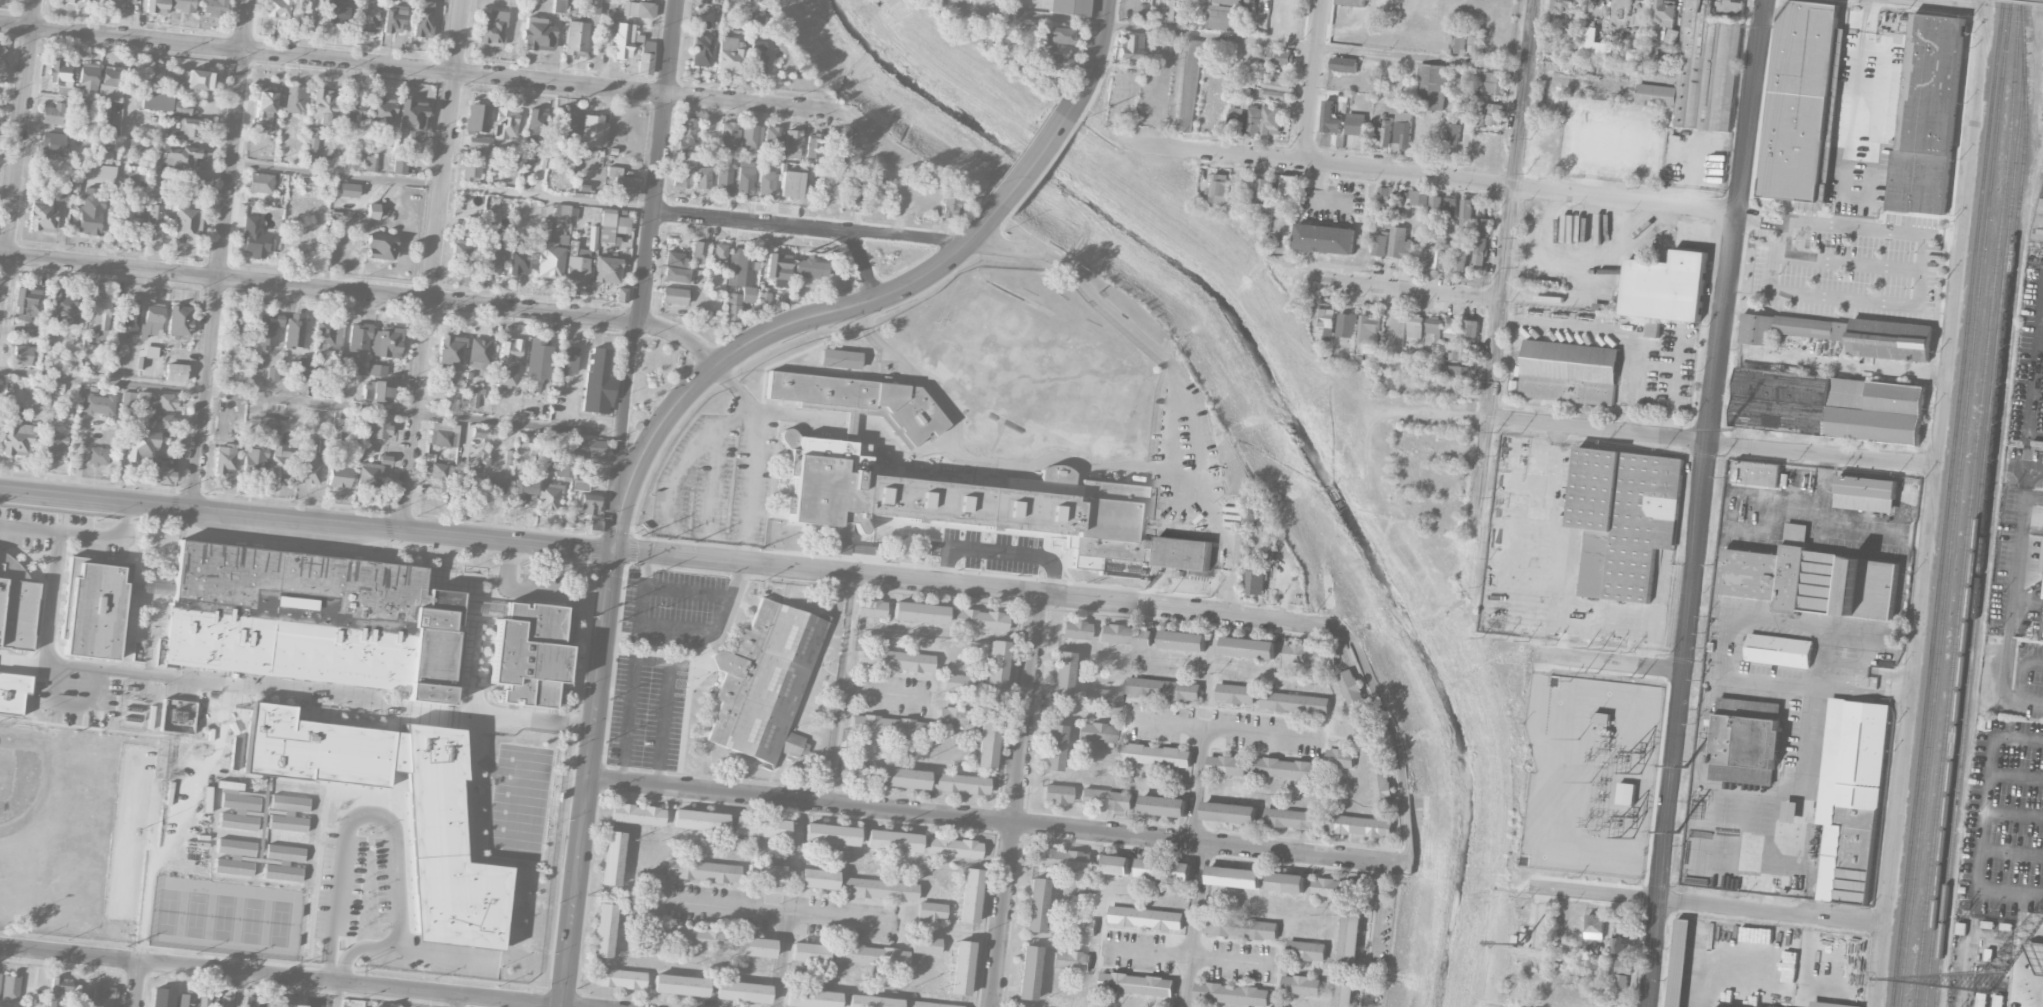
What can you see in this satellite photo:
building: (70, 1)
building: (957, 1)
building: (93, 2)
building: (1352, 2)
building: (119, 3)
road: (1943, 4)
building: (183, 5)
building: (214, 5)
building: (559, 5)
building: (1250, 5)
building: (156, 6)
building: (590, 6)
building: (1069, 7)
building: (277, 9)
building: (638, 9)
building: (306, 10)
building: (335, 10)
building: (1170, 10)
building: (1664, 14)
building: (367, 17)
building: (422, 18)
building: (1221, 18)
building: (393, 19)
road: (1866, 21)
power tower: (1773, 22)
building: (491, 25)
building: (538, 34)
building: (1055, 35)
road: (1219, 37)
building: (575, 38)
building: (622, 40)
building: (1460, 41)
building: (1475, 43)
building: (1593, 43)
building: (1129, 46)
building: (756, 47)
building: (700, 50)
building: (644, 55)
building: (729, 55)
building: (1284, 57)
road: (1092, 60)
building: (1055, 61)
building: (1344, 64)
building: (757, 65)
building: (1662, 66)
building: (1703, 66)
road: (421, 68)
building: (60, 72)
building: (198, 80)
building: (87, 81)
road: (1311, 81)
building: (110, 83)
building: (1493, 83)
building: (1188, 85)
building: (1277, 85)
building: (1431, 86)
building: (1275, 94)
building: (292, 99)
building: (1799, 99)
building: (264, 105)
building: (323, 105)
building: (183, 106)
building: (351, 111)
building: (381, 112)
building: (1488, 112)
building: (53, 114)
building: (1927, 114)
building: (477, 117)
building: (1236, 118)
building: (1330, 118)
building: (412, 119)
building: (1272, 119)
building: (1255, 120)
building: (535, 122)
building: (505, 123)
building: (1356, 123)
building: (564, 125)
building: (187, 128)
building: (592, 131)
building: (1402, 131)
building: (686, 133)
building: (1386, 133)
building: (1452, 133)
building: (728, 135)
building: (772, 136)
building: (749, 138)
building: (311, 139)
building: (479, 142)
building: (792, 143)
building: (55, 144)
building: (135, 144)
building: (812, 145)
road: (1874, 147)
road: (17, 149)
building: (834, 149)
road: (122, 152)
building: (513, 154)
building: (179, 156)
road: (1032, 160)
road: (657, 161)
building: (399, 162)
building: (369, 163)
road: (884, 167)
building: (100, 168)
building: (471, 169)
road: (1859, 172)
building: (690, 173)
building: (724, 174)
building: (744, 177)
road: (1430, 177)
building: (135, 180)
building: (196, 180)
building: (765, 181)
building: (260, 182)
building: (623, 183)
building: (790, 184)
road: (441, 185)
building: (1263, 185)
building: (1286, 185)
building: (1219, 188)
building: (349, 190)
building: (1388, 192)
building: (61, 193)
building: (850, 195)
building: (1416, 197)
building: (1450, 205)
building: (1433, 206)
building: (949, 207)
building: (371, 211)
building: (1468, 212)
building: (562, 213)
building: (42, 217)
building: (154, 218)
road: (746, 220)
building: (131, 225)
road: (1849, 225)
building: (188, 226)
building: (612, 227)
road: (902, 236)
building: (254, 238)
building: (1325, 238)
building: (1481, 240)
building: (1381, 243)
building: (1400, 243)
building: (1452, 243)
building: (381, 247)
road: (219, 252)
building: (462, 252)
building: (698, 252)
building: (719, 253)
road: (1507, 255)
building: (492, 256)
building: (1436, 258)
building: (675, 259)
building: (1460, 260)
building: (550, 261)
road: (863, 261)
building: (519, 263)
road: (433, 264)
building: (576, 265)
building: (778, 266)
building: (810, 268)
building: (607, 269)
building: (742, 271)
building: (676, 274)
building: (1666, 286)
road: (318, 289)
road: (1409, 292)
building: (620, 294)
building: (675, 296)
road: (1836, 298)
building: (26, 304)
building: (62, 308)
building: (732, 311)
building: (99, 313)
building: (129, 316)
building: (1325, 319)
building: (151, 320)
building: (179, 320)
building: (1347, 324)
building: (1415, 325)
building: (239, 326)
building: (1434, 326)
building: (1461, 327)
building: (1370, 328)
building: (1653, 328)
building: (1789, 328)
building: (268, 330)
building: (294, 331)
road: (1133, 331)
building: (328, 334)
road: (764, 334)
building: (359, 336)
road: (680, 337)
building: (1890, 339)
building: (386, 342)
building: (234, 350)
building: (450, 350)
building: (1459, 352)
building: (21, 354)
building: (840, 358)
building: (147, 360)
building: (567, 360)
building: (537, 361)
building: (508, 362)
building: (346, 364)
building: (95, 365)
building: (302, 366)
park: (1031, 368)
building: (377, 370)
building: (1455, 370)
building: (175, 372)
building: (1569, 372)
building: (272, 373)
building: (598, 382)
building: (377, 391)
building: (474, 396)
building: (128, 399)
building: (156, 400)
road: (310, 400)
building: (98, 404)
building: (1828, 404)
building: (64, 413)
building: (160, 420)
building: (265, 422)
road: (622, 423)
power tower: (1727, 427)
building: (377, 428)
building: (336, 430)
building: (479, 432)
building: (443, 434)
road: (1228, 438)
building: (17, 440)
road: (1713, 440)
building: (141, 445)
building: (55, 446)
building: (323, 446)
building: (589, 447)
building: (357, 448)
building: (97, 456)
building: (224, 457)
building: (254, 459)
building: (279, 462)
building: (825, 467)
building: (309, 469)
building: (562, 469)
building: (338, 471)
building: (436, 471)
building: (1755, 472)
building: (162, 475)
building: (369, 476)
building: (467, 484)
building: (496, 484)
building: (579, 485)
building: (1866, 492)
building: (523, 493)
building: (549, 496)
road: (1703, 503)
road: (1932, 503)
railway: (1947, 503)
railway: (1954, 503)
railway: (1968, 503)
railway: (1987, 503)
building: (589, 504)
road: (306, 517)
building: (1624, 518)
road: (1841, 527)
railway: (1975, 532)
road: (79, 534)
road: (721, 534)
road: (741, 549)
traffic signals: (614, 550)
building: (1183, 552)
building: (1254, 559)
building: (2042, 566)
building: (0, 567)
building: (1812, 579)
building: (1256, 582)
building: (149, 586)
road: (976, 587)
road: (54, 597)
road: (2013, 597)
railway: (1672, 604)
building: (95, 606)
building: (481, 607)
building: (871, 608)
building: (919, 612)
building: (17, 613)
building: (313, 618)
building: (980, 619)
road: (677, 627)
building: (1075, 629)
building: (2042, 632)
building: (1125, 635)
building: (1183, 640)
building: (1249, 647)
building: (1779, 650)
building: (527, 654)
building: (1310, 654)
parking lot: (661, 658)
building: (896, 660)
road: (652, 661)
road: (1594, 661)
road: (1544, 664)
building: (995, 667)
building: (1061, 674)
road: (2024, 674)
road: (1849, 678)
building: (764, 680)
building: (957, 683)
building: (1164, 688)
road: (843, 690)
building: (12, 692)
road: (297, 692)
building: (1236, 693)
road: (884, 694)
building: (1102, 698)
building: (1296, 703)
building: (1358, 704)
road: (74, 706)
building: (177, 712)
building: (951, 716)
building: (1602, 717)
building: (887, 726)
road: (1224, 729)
building: (1096, 732)
building: (986, 739)
road: (1396, 739)
building: (1745, 740)
building: (1053, 747)
building: (1155, 754)
building: (1340, 758)
building: (1227, 765)
building: (1288, 768)
power tower: (1686, 771)
building: (851, 772)
road: (2016, 773)
power substation: (1592, 774)
building: (900, 777)
building: (1381, 777)
road: (588, 778)
building: (961, 783)
road: (1792, 783)
road: (1201, 785)
building: (465, 791)
building: (1057, 793)
building: (1629, 795)
building: (1850, 798)
building: (1106, 799)
road: (1017, 800)
building: (1164, 805)
road: (2014, 811)
building: (1230, 812)
building: (637, 814)
road: (355, 818)
building: (1291, 818)
road: (1985, 818)
building: (699, 820)
road: (986, 820)
road: (177, 821)
building: (433, 825)
building: (1360, 825)
building: (761, 826)
park: (235, 831)
park: (77, 832)
building: (831, 834)
power tower: (1677, 837)
building: (892, 840)
building: (954, 847)
road: (2013, 852)
building: (612, 858)
building: (1058, 858)
building: (1111, 863)
road: (1398, 863)
road: (1654, 865)
building: (1164, 869)
building: (702, 870)
building: (765, 873)
building: (1233, 876)
building: (817, 879)
building: (647, 881)
building: (1286, 882)
building: (1338, 888)
building: (879, 889)
building: (969, 895)
building: (1035, 905)
road: (1702, 905)
park: (167, 911)
road: (785, 911)
building: (931, 911)
park: (196, 914)
park: (224, 917)
building: (1146, 917)
park: (252, 920)
park: (280, 923)
road: (1196, 925)
building: (1077, 926)
building: (1595, 926)
building: (1241, 927)
building: (603, 930)
road: (1376, 934)
building: (695, 937)
building: (1351, 937)
building: (926, 944)
building: (1622, 945)
building: (755, 947)
building: (1590, 948)
building: (1307, 950)
road: (406, 952)
building: (808, 952)
building: (870, 955)
road: (1191, 958)
road: (782, 959)
building: (1072, 960)
building: (1679, 961)
road: (2017, 961)
building: (961, 968)
building: (0, 972)
building: (1622, 972)
building: (1028, 973)
road: (281, 977)
building: (618, 978)
building: (1137, 983)
road: (136, 984)
building: (680, 985)
building: (1301, 985)
building: (11, 988)
road: (241, 990)
building: (741, 991)
building: (1344, 992)
building: (65, 993)
building: (1232, 993)
building: (102, 996)
building: (162, 997)
building: (811, 998)
building: (186, 999)
building: (204, 1000)
building: (226, 1001)
building: (254, 1001)
road: (458, 1001)
building: (872, 1001)
building: (927, 1004)
building: (1835, 1004)
building: (290, 1005)
road: (1539, 1005)

